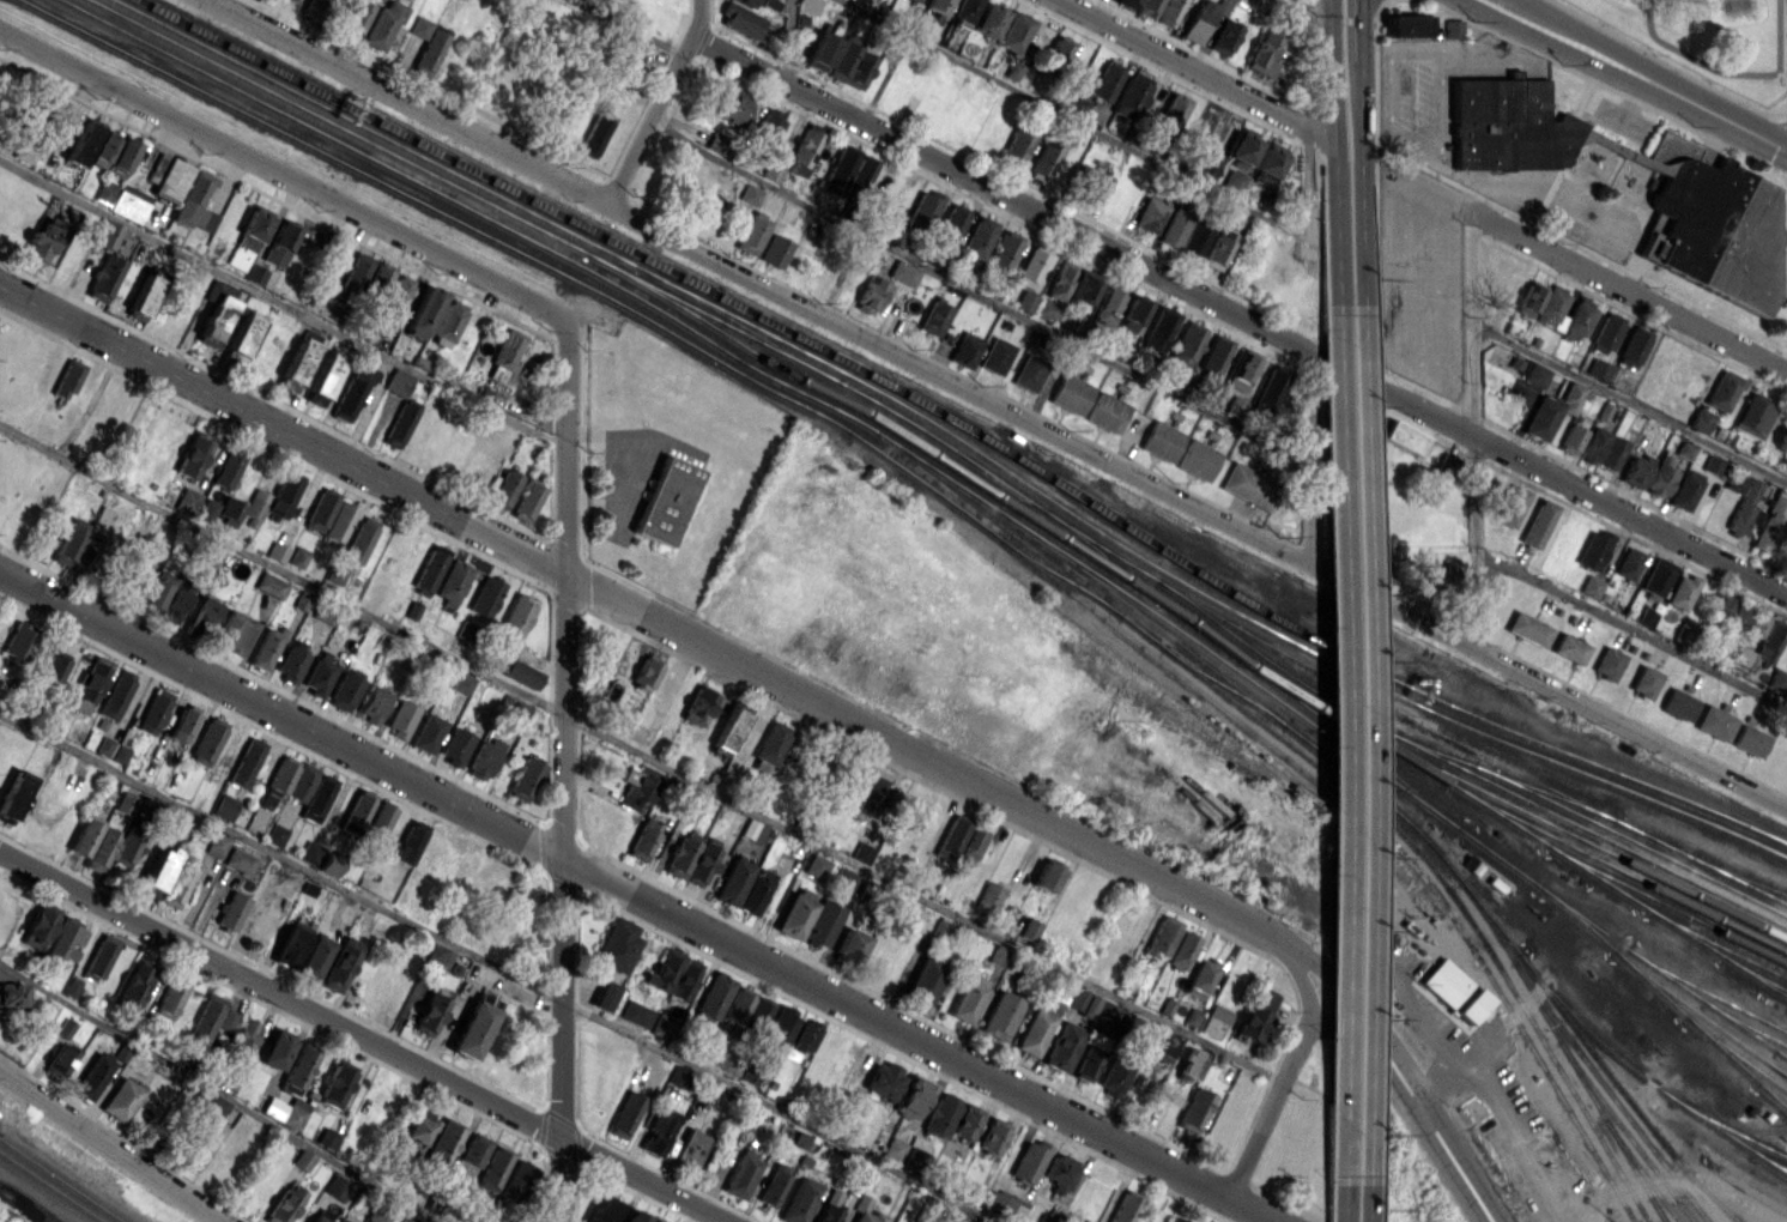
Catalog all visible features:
building: (915, 0)
building: (746, 2)
building: (771, 2)
road: (1504, 2)
building: (1128, 4)
building: (314, 6)
building: (938, 6)
building: (1147, 7)
road: (1358, 10)
road: (1367, 10)
building: (1168, 11)
building: (963, 12)
building: (355, 17)
road: (699, 18)
building: (740, 19)
building: (987, 19)
road: (1307, 19)
building: (1198, 20)
building: (382, 24)
building: (1407, 25)
building: (419, 26)
road: (626, 28)
building: (1453, 28)
building: (1014, 32)
building: (1223, 37)
road: (1358, 40)
road: (788, 41)
building: (823, 47)
park: (1690, 48)
building: (1059, 49)
building: (428, 53)
building: (1262, 54)
building: (852, 63)
road: (1195, 69)
road: (1648, 75)
building: (1105, 80)
road: (1332, 84)
building: (1131, 95)
building: (1078, 101)
building: (732, 107)
road: (1358, 114)
building: (1169, 115)
road: (648, 120)
building: (768, 125)
building: (1509, 125)
building: (594, 133)
railway: (375, 134)
road: (1113, 139)
building: (717, 143)
building: (80, 144)
building: (1016, 146)
building: (102, 149)
building: (1242, 149)
building: (801, 152)
building: (23, 153)
building: (122, 157)
building: (1041, 163)
building: (1267, 163)
building: (1205, 165)
building: (838, 169)
building: (773, 170)
road: (283, 174)
building: (860, 174)
building: (168, 176)
building: (1088, 179)
building: (1234, 180)
building: (104, 190)
railway: (461, 192)
building: (749, 194)
building: (129, 202)
building: (194, 202)
building: (923, 207)
railway: (436, 211)
building: (1150, 214)
building: (950, 226)
building: (1174, 228)
building: (752, 232)
building: (107, 234)
building: (248, 237)
building: (977, 237)
building: (1194, 238)
building: (41, 242)
building: (280, 242)
building: (1218, 248)
building: (775, 250)
building: (1002, 252)
building: (860, 256)
building: (1030, 266)
road: (1585, 267)
building: (902, 272)
building: (255, 274)
building: (353, 276)
building: (103, 277)
building: (378, 278)
building: (1059, 279)
parking lot: (1420, 283)
building: (1084, 288)
building: (145, 294)
building: (871, 294)
road: (979, 294)
building: (395, 296)
building: (1024, 300)
building: (1528, 300)
road: (283, 303)
building: (1103, 308)
building: (1552, 308)
building: (214, 311)
building: (422, 311)
road: (1240, 313)
building: (1132, 315)
building: (933, 317)
building: (1577, 320)
building: (447, 323)
railway: (739, 327)
building: (1159, 329)
building: (243, 332)
building: (1605, 333)
railway: (794, 338)
building: (1186, 345)
building: (1632, 346)
railway: (744, 349)
building: (965, 350)
building: (507, 355)
building: (995, 355)
building: (419, 362)
building: (296, 364)
building: (1211, 365)
building: (1029, 371)
building: (1242, 371)
building: (67, 379)
building: (323, 379)
building: (396, 382)
building: (1722, 389)
building: (351, 391)
building: (1267, 391)
building: (1070, 393)
railway: (802, 394)
road: (1630, 403)
road: (993, 404)
building: (1235, 405)
building: (1551, 410)
building: (1107, 412)
building: (1753, 415)
building: (1700, 419)
building: (399, 424)
road: (1474, 425)
building: (1405, 436)
building: (1570, 438)
building: (1161, 440)
building: (1603, 448)
building: (1684, 449)
building: (193, 454)
road: (1312, 458)
building: (1197, 459)
building: (1710, 464)
building: (228, 467)
building: (1636, 470)
railway: (957, 473)
building: (1660, 476)
building: (1248, 485)
building: (1743, 485)
building: (503, 489)
building: (1684, 490)
building: (281, 495)
railway: (941, 498)
building: (186, 500)
building: (526, 500)
building: (665, 500)
building: (1510, 506)
building: (254, 508)
building: (206, 509)
building: (320, 509)
building: (229, 512)
building: (1741, 516)
building: (338, 521)
building: (1537, 522)
building: (1770, 524)
building: (91, 539)
building: (361, 539)
building: (68, 542)
building: (1593, 550)
building: (275, 551)
building: (210, 556)
building: (297, 556)
building: (1629, 563)
building: (429, 569)
building: (334, 573)
railway: (1059, 576)
building: (1430, 576)
building: (1656, 576)
building: (452, 583)
building: (271, 585)
building: (1591, 586)
building: (137, 587)
building: (157, 591)
railway: (1199, 591)
building: (1682, 591)
building: (485, 595)
building: (302, 599)
building: (174, 605)
building: (1718, 606)
building: (412, 610)
building: (206, 612)
building: (1737, 616)
building: (513, 622)
building: (1756, 623)
building: (1527, 628)
building: (464, 629)
road: (1632, 629)
building: (235, 631)
building: (18, 640)
building: (1769, 641)
road: (704, 646)
building: (266, 647)
building: (1569, 648)
building: (1737, 658)
building: (292, 661)
railway: (1304, 661)
building: (1607, 663)
building: (53, 664)
railway: (1225, 666)
building: (646, 671)
building: (320, 673)
building: (520, 673)
building: (1643, 680)
building: (1777, 680)
building: (461, 683)
building: (90, 684)
railway: (1222, 685)
building: (345, 691)
building: (116, 694)
road: (1338, 695)
road: (1362, 695)
building: (374, 703)
building: (1678, 704)
building: (698, 706)
building: (155, 710)
building: (519, 712)
building: (400, 718)
building: (182, 721)
building: (1714, 722)
railway: (1370, 725)
building: (728, 730)
building: (428, 732)
building: (207, 740)
building: (1750, 740)
building: (771, 742)
building: (455, 745)
building: (113, 750)
road: (641, 752)
building: (483, 758)
railway: (1565, 758)
building: (246, 761)
road: (563, 772)
railway: (1615, 772)
building: (279, 779)
building: (525, 779)
railway: (1334, 780)
building: (302, 781)
railway: (1356, 781)
building: (640, 786)
building: (873, 792)
building: (13, 794)
building: (317, 798)
railway: (1422, 800)
railway: (1605, 800)
building: (126, 801)
building: (224, 806)
building: (356, 811)
railway: (1504, 818)
building: (376, 819)
building: (752, 830)
railway: (1583, 830)
building: (275, 834)
building: (951, 834)
building: (84, 835)
building: (644, 839)
railway: (1630, 839)
building: (410, 841)
railway: (1580, 841)
building: (217, 843)
building: (971, 843)
building: (127, 846)
building: (101, 849)
building: (310, 852)
building: (861, 852)
road: (280, 854)
building: (682, 854)
building: (238, 860)
building: (702, 860)
building: (329, 864)
building: (816, 865)
building: (159, 867)
railway: (1616, 870)
building: (1046, 875)
railway: (1737, 877)
building: (843, 878)
building: (734, 881)
building: (178, 885)
building: (755, 890)
road: (638, 897)
building: (988, 897)
railway: (1665, 907)
building: (230, 911)
building: (796, 912)
building: (822, 922)
building: (38, 926)
building: (941, 928)
building: (1029, 928)
building: (1162, 936)
building: (67, 938)
building: (290, 943)
building: (849, 944)
building: (616, 945)
building: (1182, 950)
railway: (1714, 952)
building: (438, 955)
building: (99, 957)
building: (315, 957)
building: (340, 963)
building: (664, 970)
railway: (1662, 973)
railway: (1752, 974)
building: (1200, 976)
building: (684, 979)
building: (925, 980)
building: (135, 982)
building: (72, 986)
road: (1304, 990)
building: (1454, 990)
railway: (1707, 993)
building: (12, 994)
building: (605, 996)
building: (714, 996)
building: (170, 997)
building: (968, 997)
building: (1262, 998)
building: (1082, 1002)
building: (738, 1005)
building: (1167, 1005)
building: (758, 1011)
building: (429, 1014)
building: (636, 1014)
building: (1000, 1015)
building: (1109, 1015)
railway: (1697, 1015)
building: (1192, 1017)
building: (226, 1018)
building: (206, 1020)
building: (1214, 1021)
building: (1252, 1023)
building: (661, 1026)
road: (1335, 1026)
building: (780, 1028)
railway: (1752, 1028)
building: (472, 1029)
building: (1034, 1032)
road: (362, 1036)
building: (244, 1038)
building: (800, 1039)
building: (1065, 1045)
building: (1164, 1046)
building: (275, 1048)
building: (62, 1049)
railway: (1733, 1054)
railway: (1783, 1055)
railway: (1593, 1057)
building: (1191, 1064)
building: (1085, 1065)
building: (298, 1070)
building: (751, 1071)
building: (1115, 1075)
building: (92, 1076)
building: (678, 1076)
railway: (1640, 1077)
building: (883, 1079)
building: (335, 1083)
railway: (1587, 1091)
road: (217, 1093)
railway: (1770, 1093)
building: (913, 1096)
building: (121, 1099)
building: (207, 1105)
building: (1194, 1109)
building: (285, 1111)
road: (780, 1111)
building: (941, 1113)
building: (625, 1114)
building: (649, 1117)
building: (747, 1118)
road: (1501, 1118)
building: (965, 1121)
road: (1264, 1123)
building: (417, 1130)
railway: (1727, 1130)
building: (660, 1131)
road: (1435, 1132)
railway: (1624, 1132)
building: (992, 1136)
building: (327, 1138)
building: (804, 1139)
building: (443, 1141)
road: (111, 1145)
building: (204, 1145)
building: (690, 1147)
building: (474, 1149)
building: (914, 1159)
building: (303, 1160)
building: (1029, 1161)
railway: (1769, 1161)
building: (492, 1170)
railway: (1638, 1170)
building: (1060, 1173)
building: (740, 1175)
road: (1674, 1179)
railway: (61, 1180)
building: (516, 1181)
building: (774, 1184)
railway: (50, 1187)
building: (337, 1187)
building: (799, 1200)
building: (285, 1204)
building: (828, 1205)
building: (1004, 1205)
building: (1125, 1206)
road: (18, 1209)
railway: (1655, 1209)
building: (604, 1210)
building: (865, 1211)
building: (376, 1214)
building: (325, 1216)
building: (636, 1216)
building: (1044, 1218)
building: (654, 1220)
building: (1175, 1220)
building: (1145, 1221)

